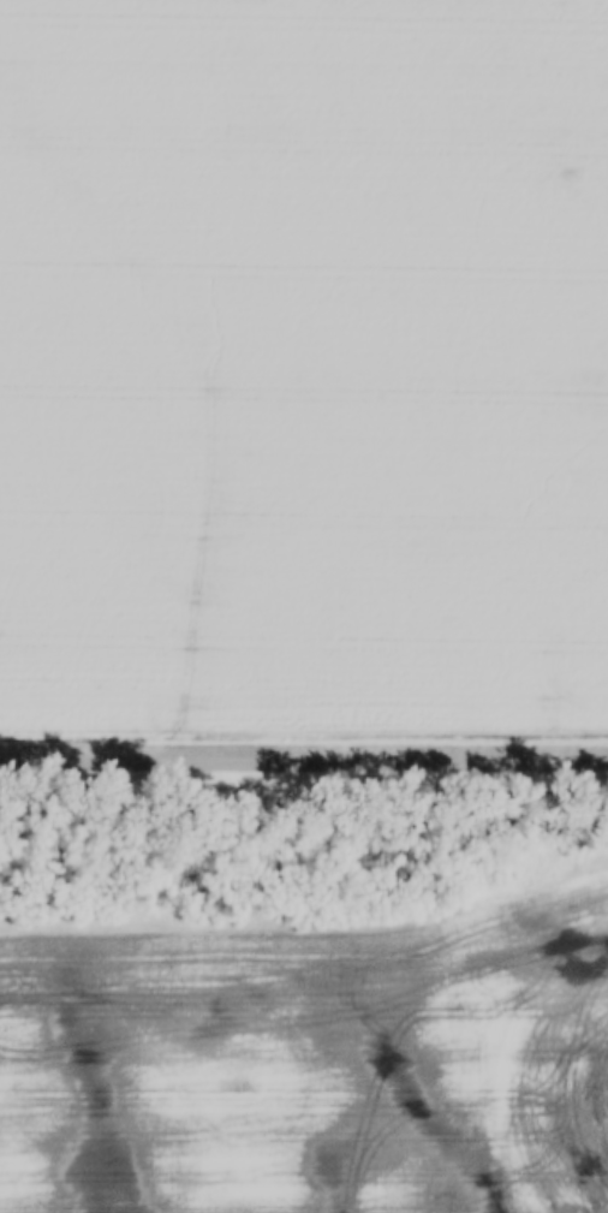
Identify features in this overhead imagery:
road: (304, 760)

